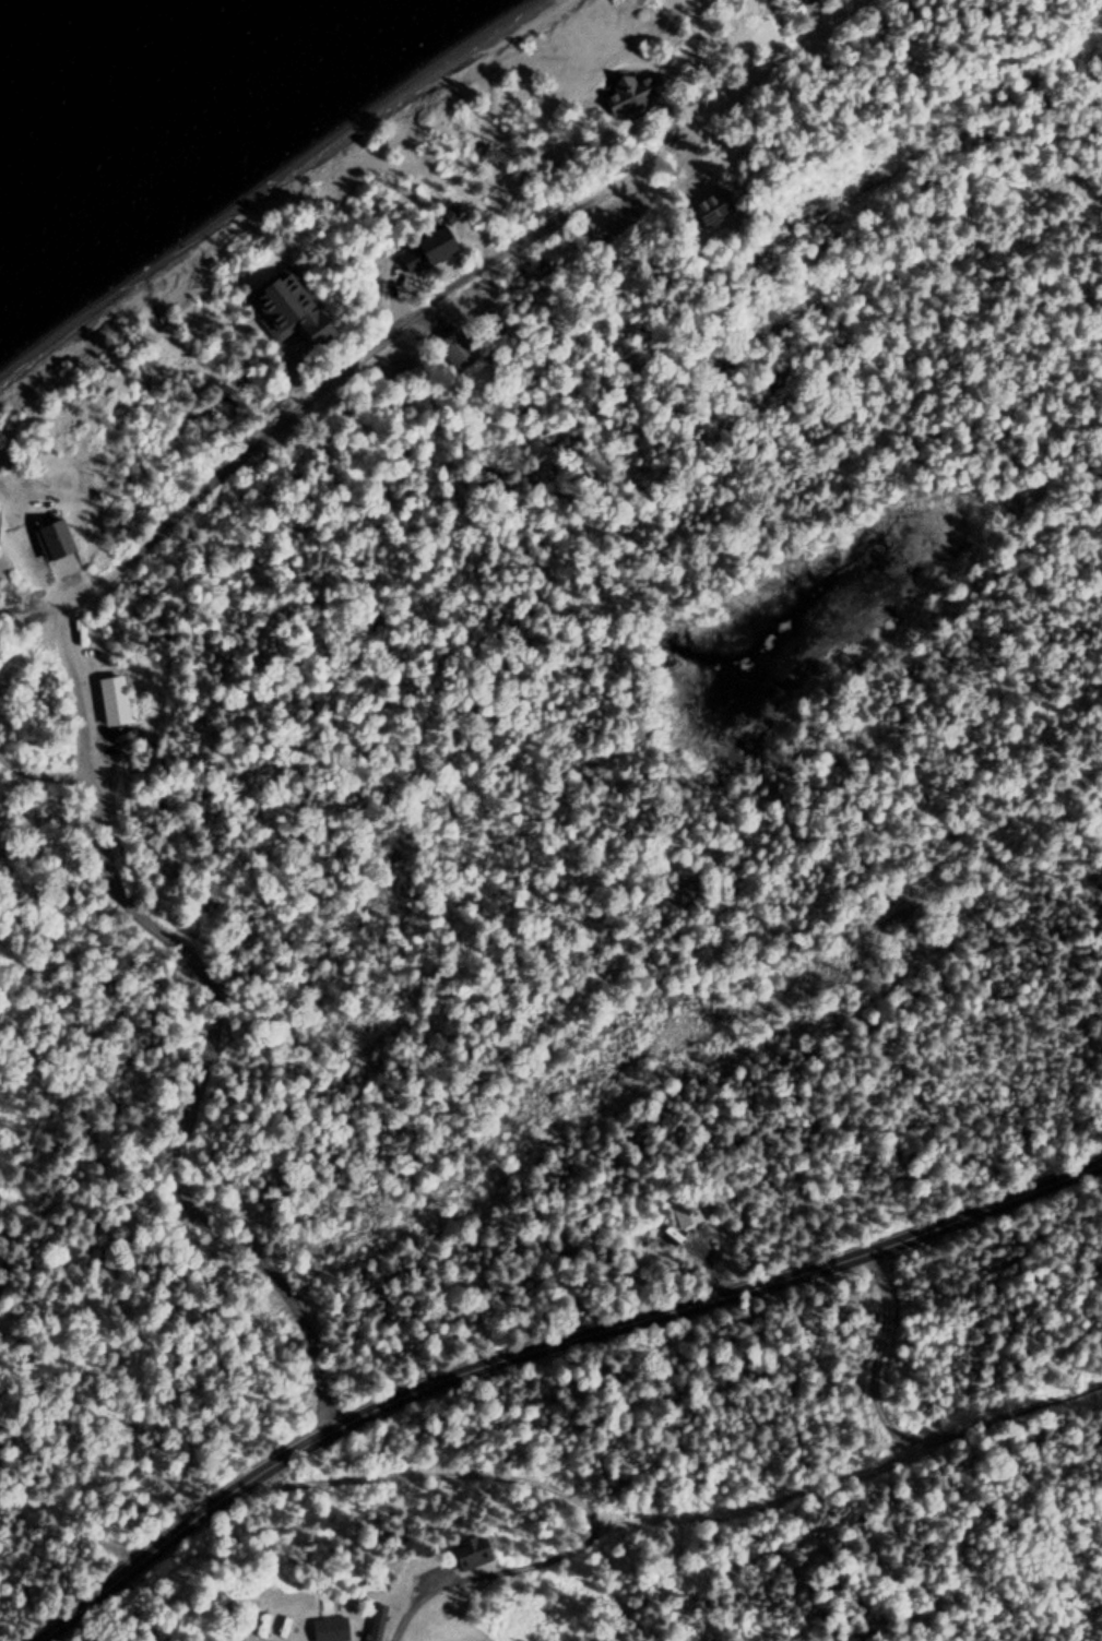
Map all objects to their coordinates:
road: (629, 159)
building: (441, 251)
building: (287, 307)
road: (203, 489)
building: (55, 540)
building: (111, 701)
road: (211, 1024)
building: (686, 1212)
road: (543, 1346)
road: (770, 1496)
building: (378, 1585)
road: (407, 1609)
building: (377, 1622)
building: (331, 1629)

